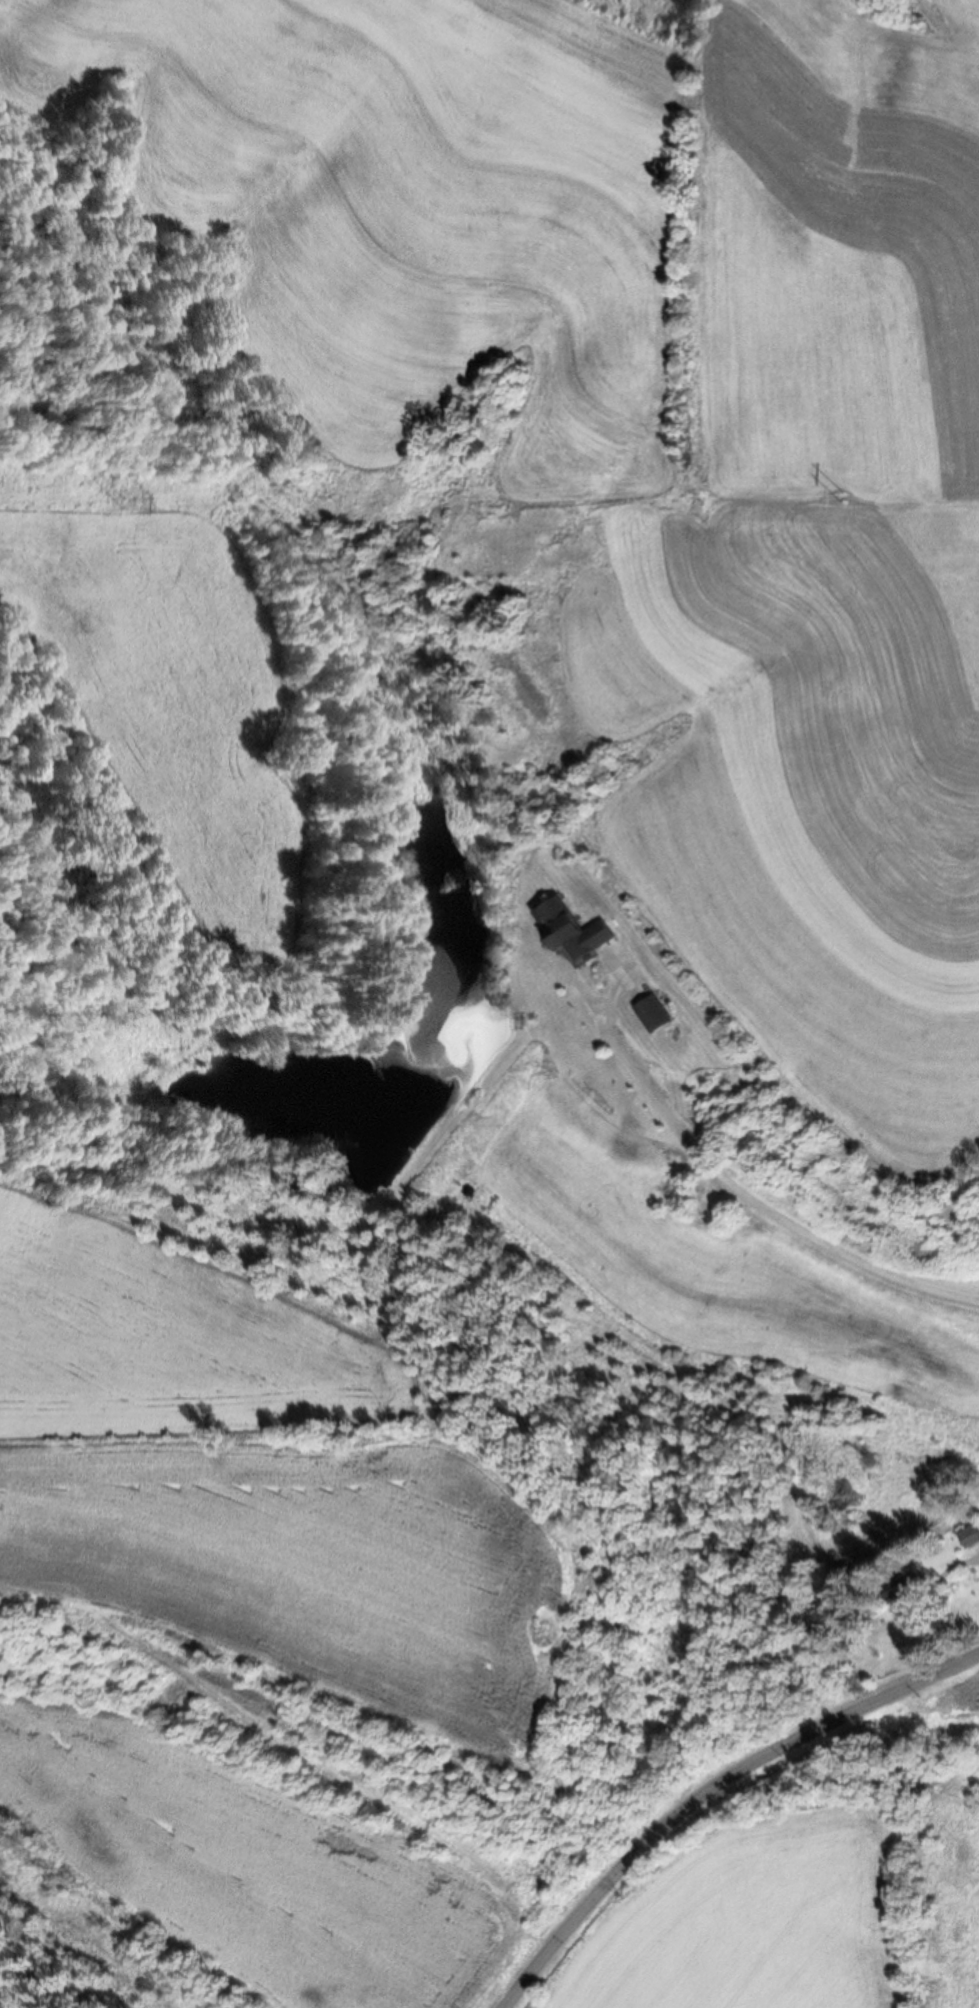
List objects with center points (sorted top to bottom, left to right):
building: (571, 929)
building: (652, 1013)
building: (970, 1536)
building: (904, 1588)
road: (709, 1790)

